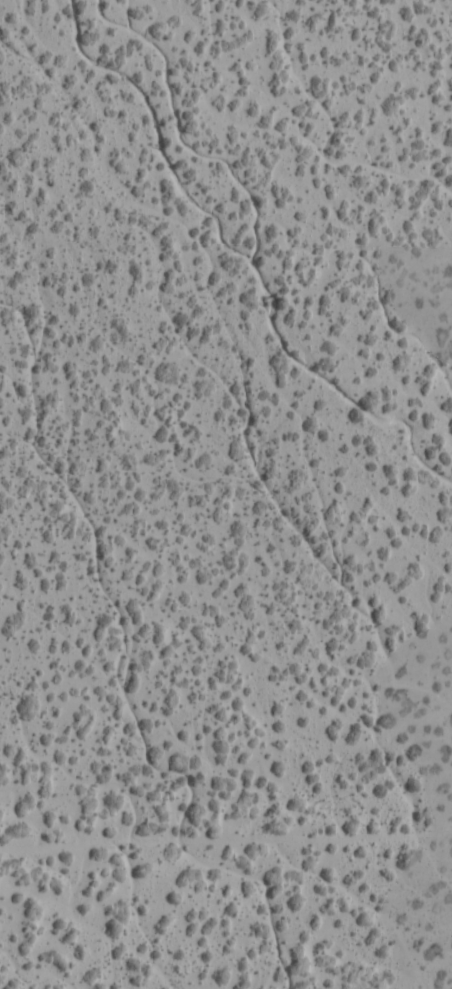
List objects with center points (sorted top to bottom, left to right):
building: (33, 589)
road: (226, 847)
building: (362, 911)
building: (51, 975)

